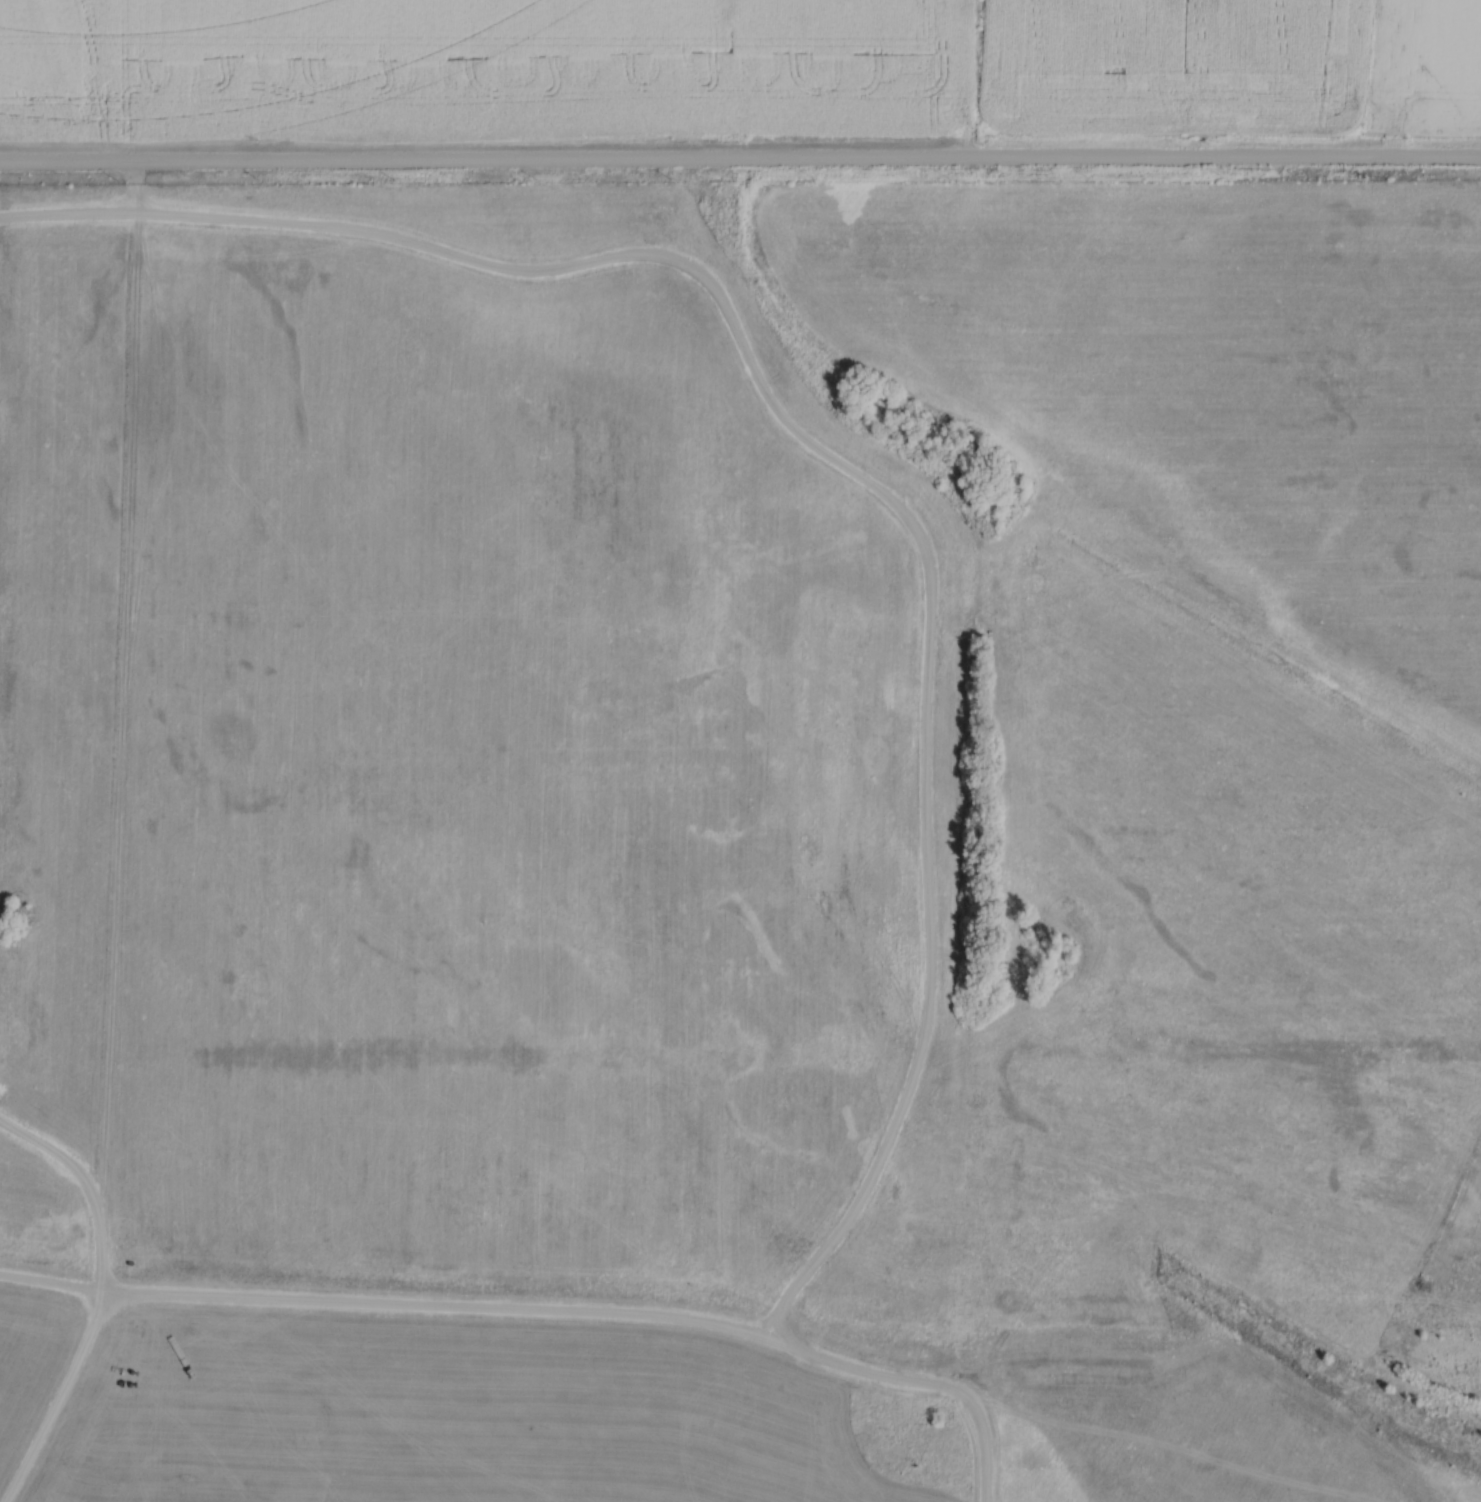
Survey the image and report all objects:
road: (740, 163)
road: (830, 460)
road: (81, 1187)
road: (278, 1298)
road: (814, 1353)
road: (58, 1400)

